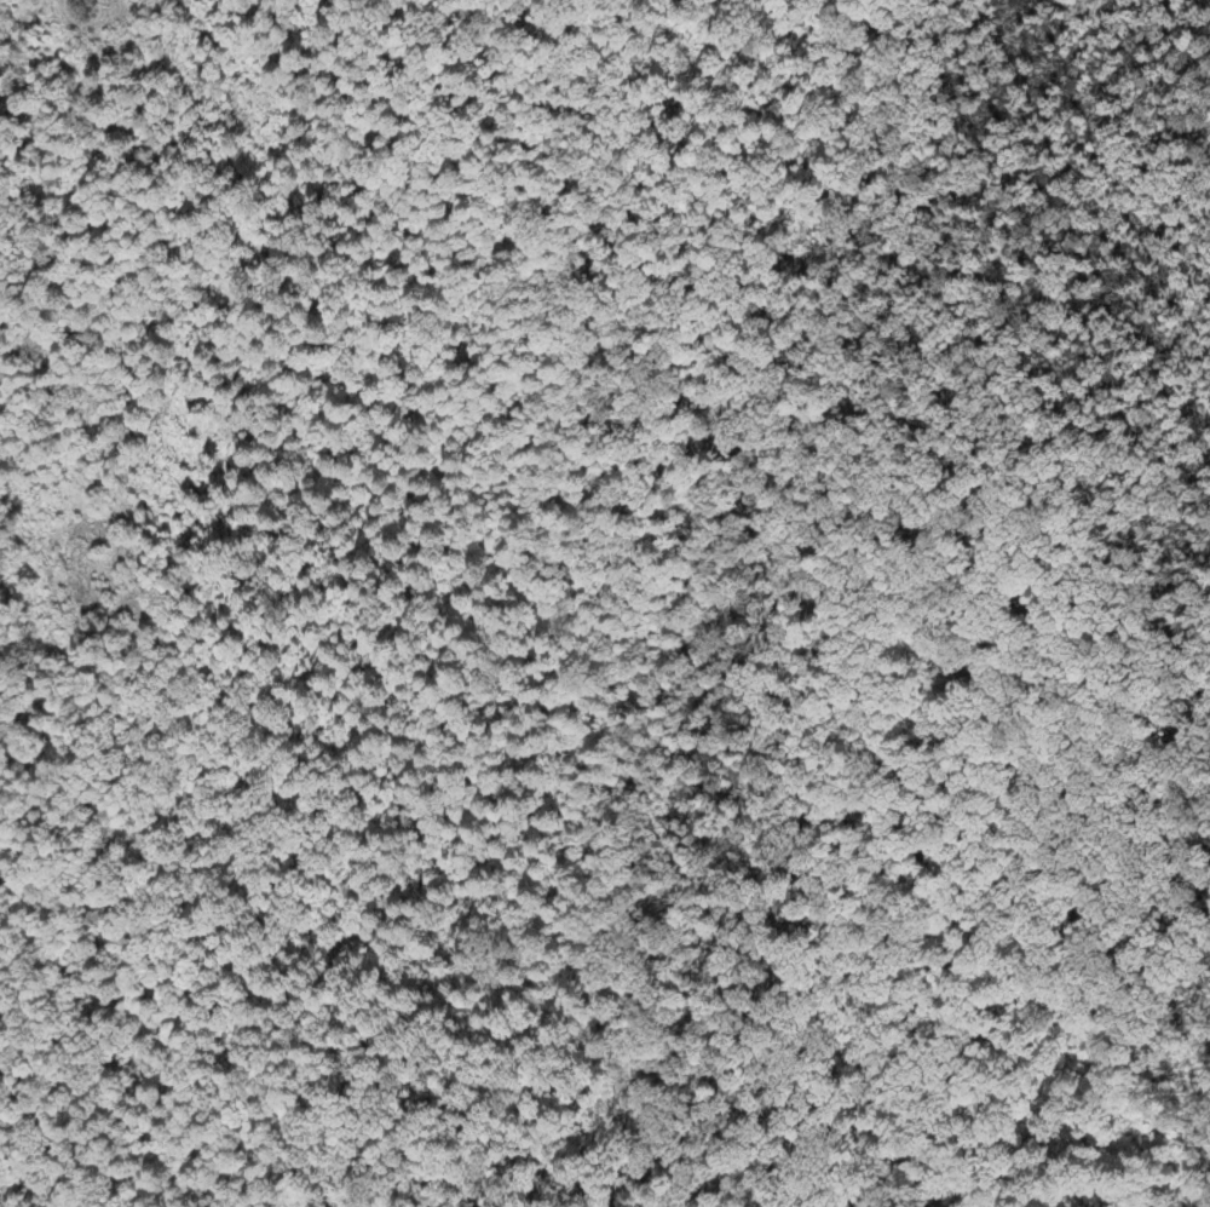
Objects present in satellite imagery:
road: (1124, 1167)

